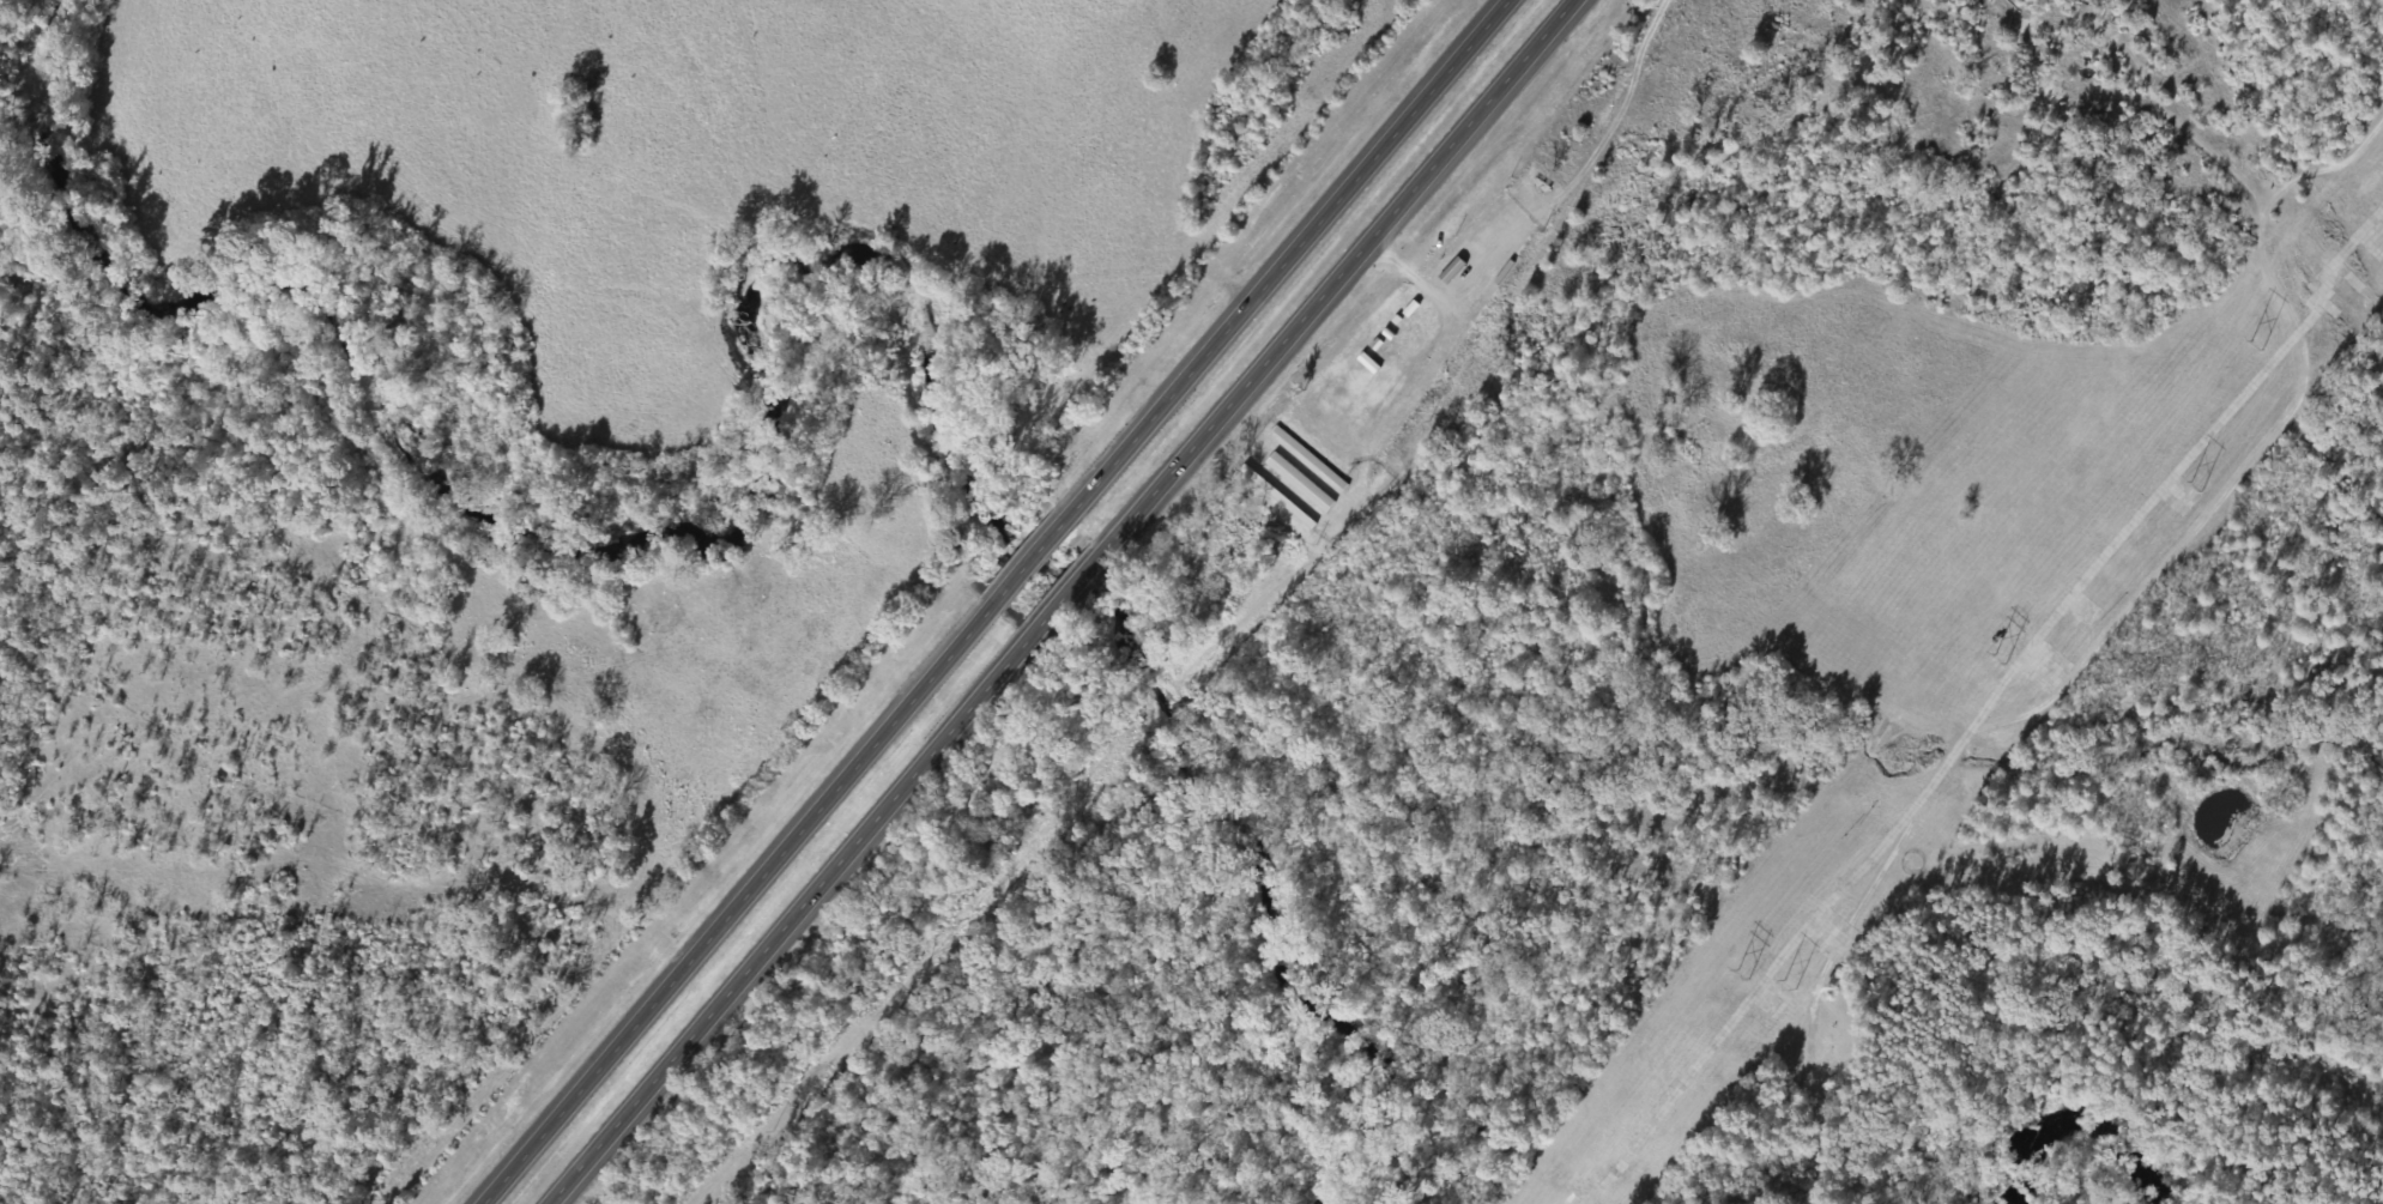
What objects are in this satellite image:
power tower: (2251, 349)
power tower: (2193, 488)
road: (1051, 597)
road: (994, 601)
power tower: (1996, 657)
power tower: (1729, 968)
power tower: (1780, 986)
building: (516, 1158)

